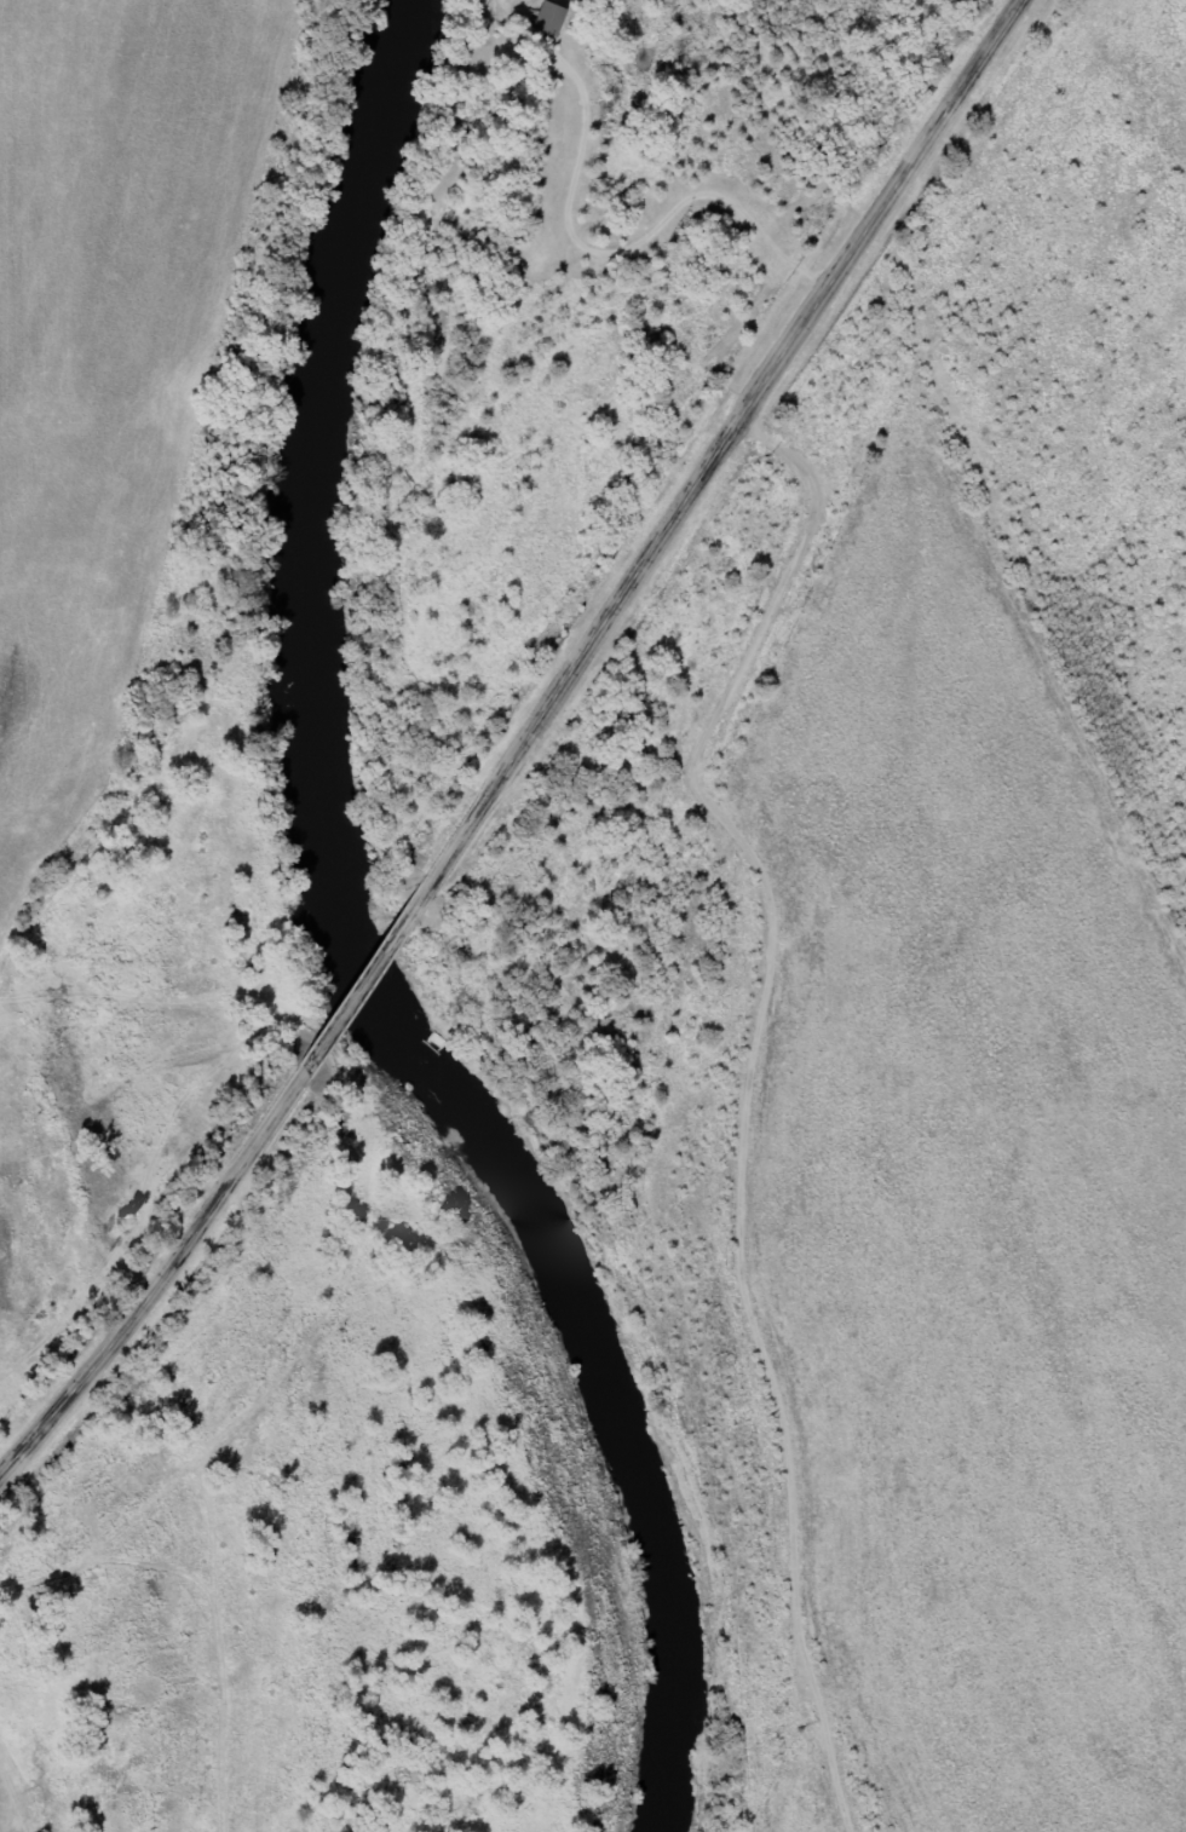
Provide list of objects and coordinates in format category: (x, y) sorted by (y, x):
building: (551, 19)
road: (722, 442)
river: (356, 951)
road: (368, 981)
road: (161, 1281)
road: (828, 1497)

